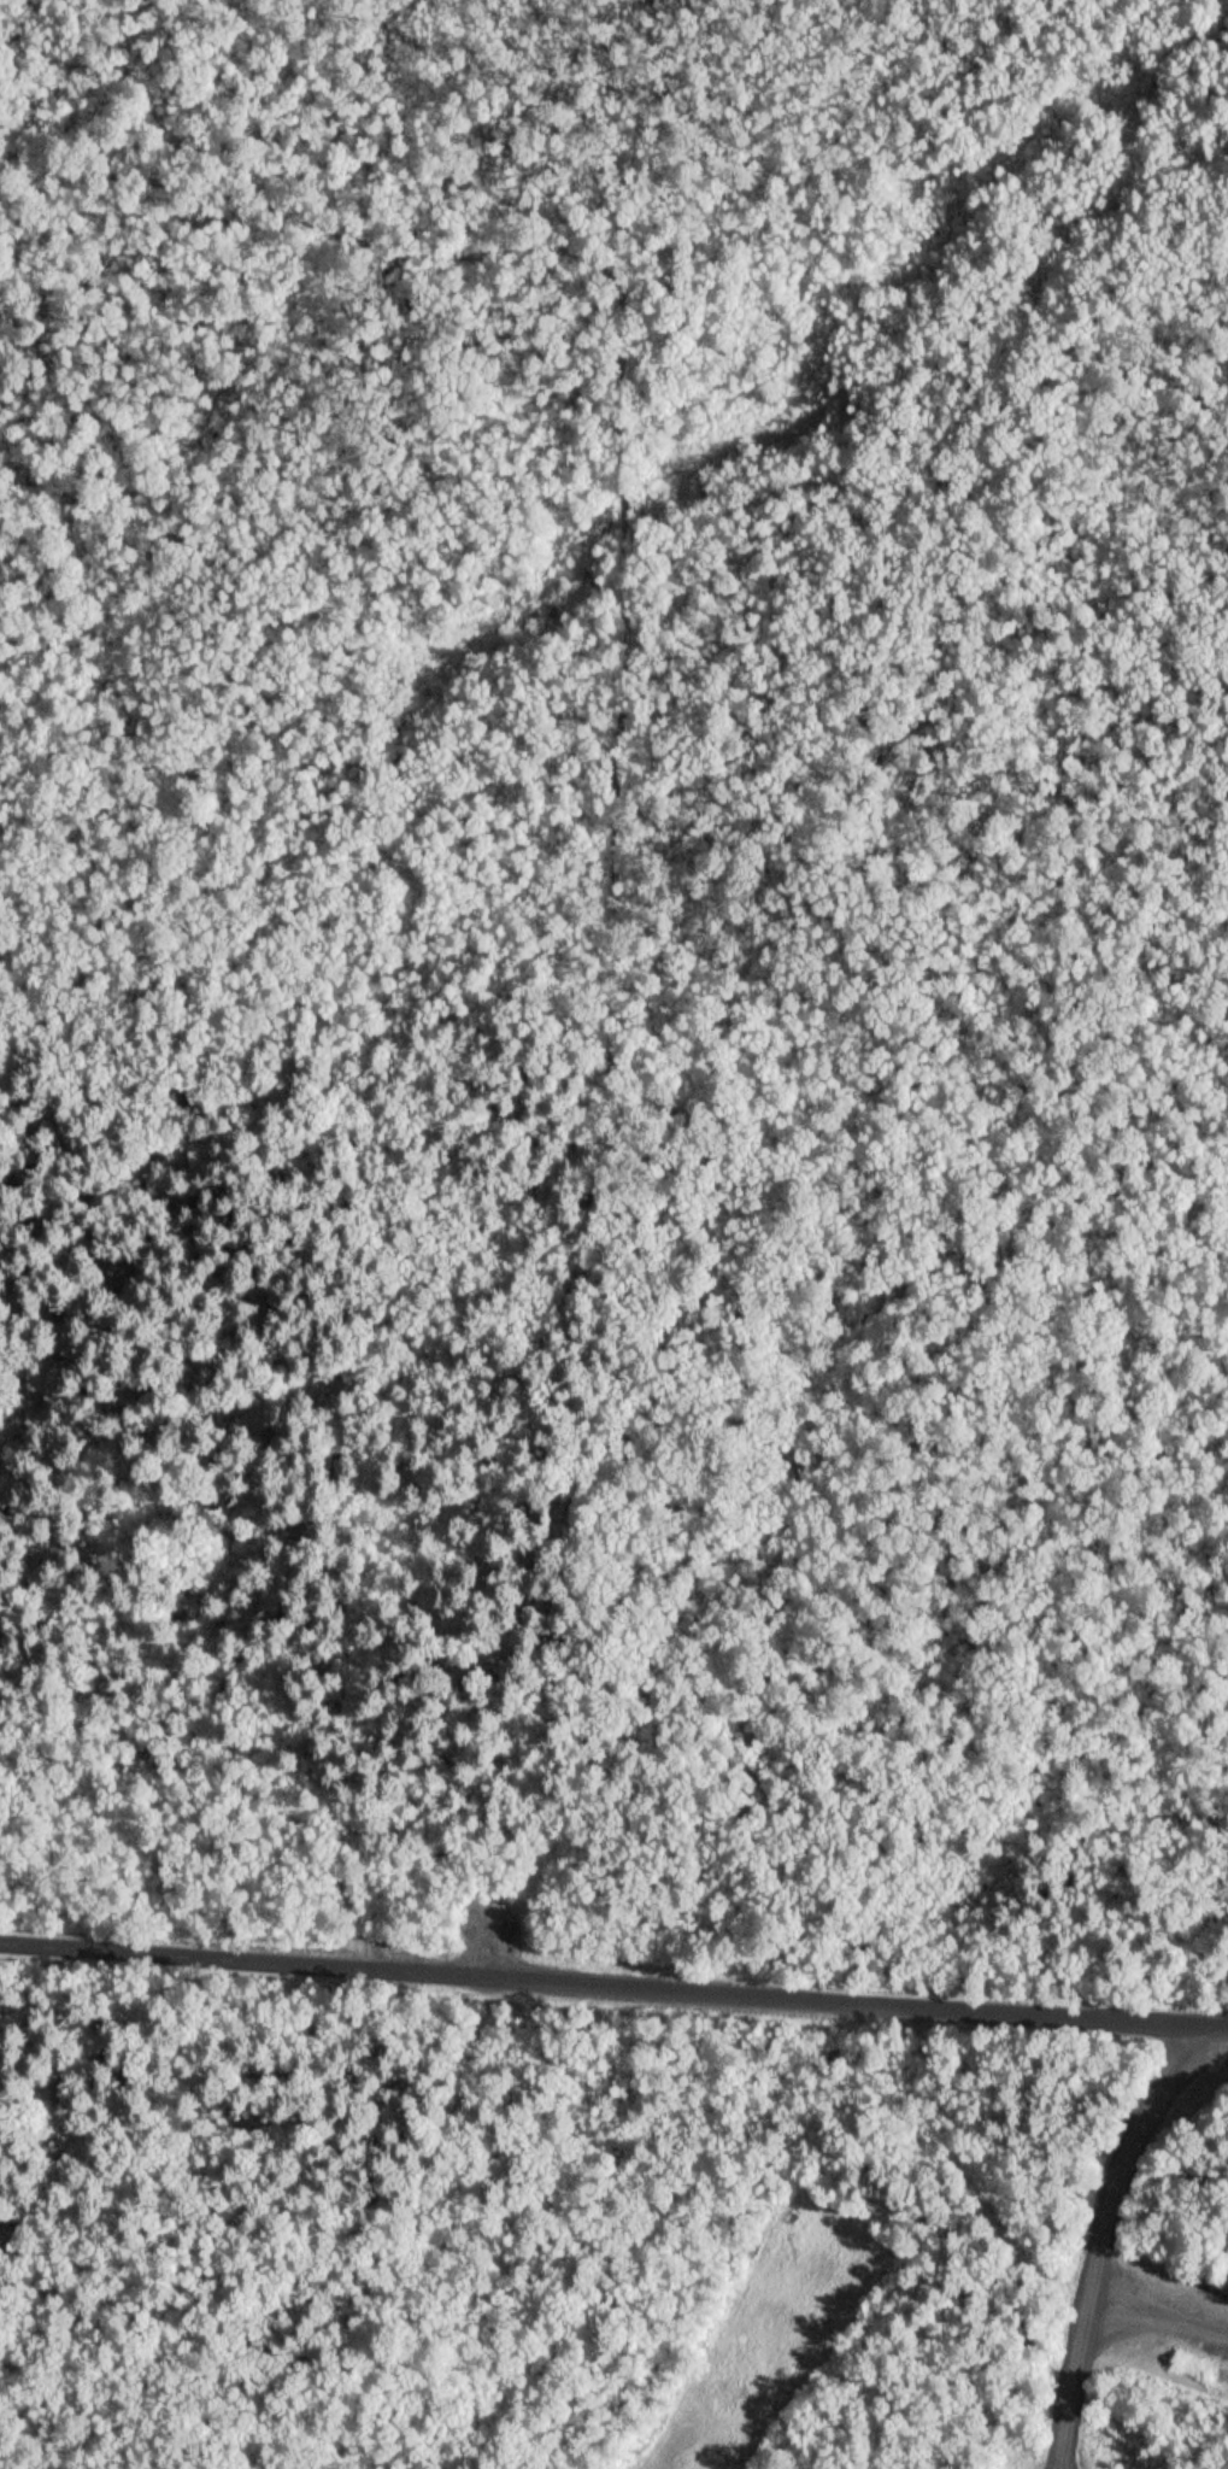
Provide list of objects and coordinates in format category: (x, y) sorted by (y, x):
road: (613, 1987)
road: (1100, 2233)
road: (1161, 2318)
parking lot: (1095, 2464)

